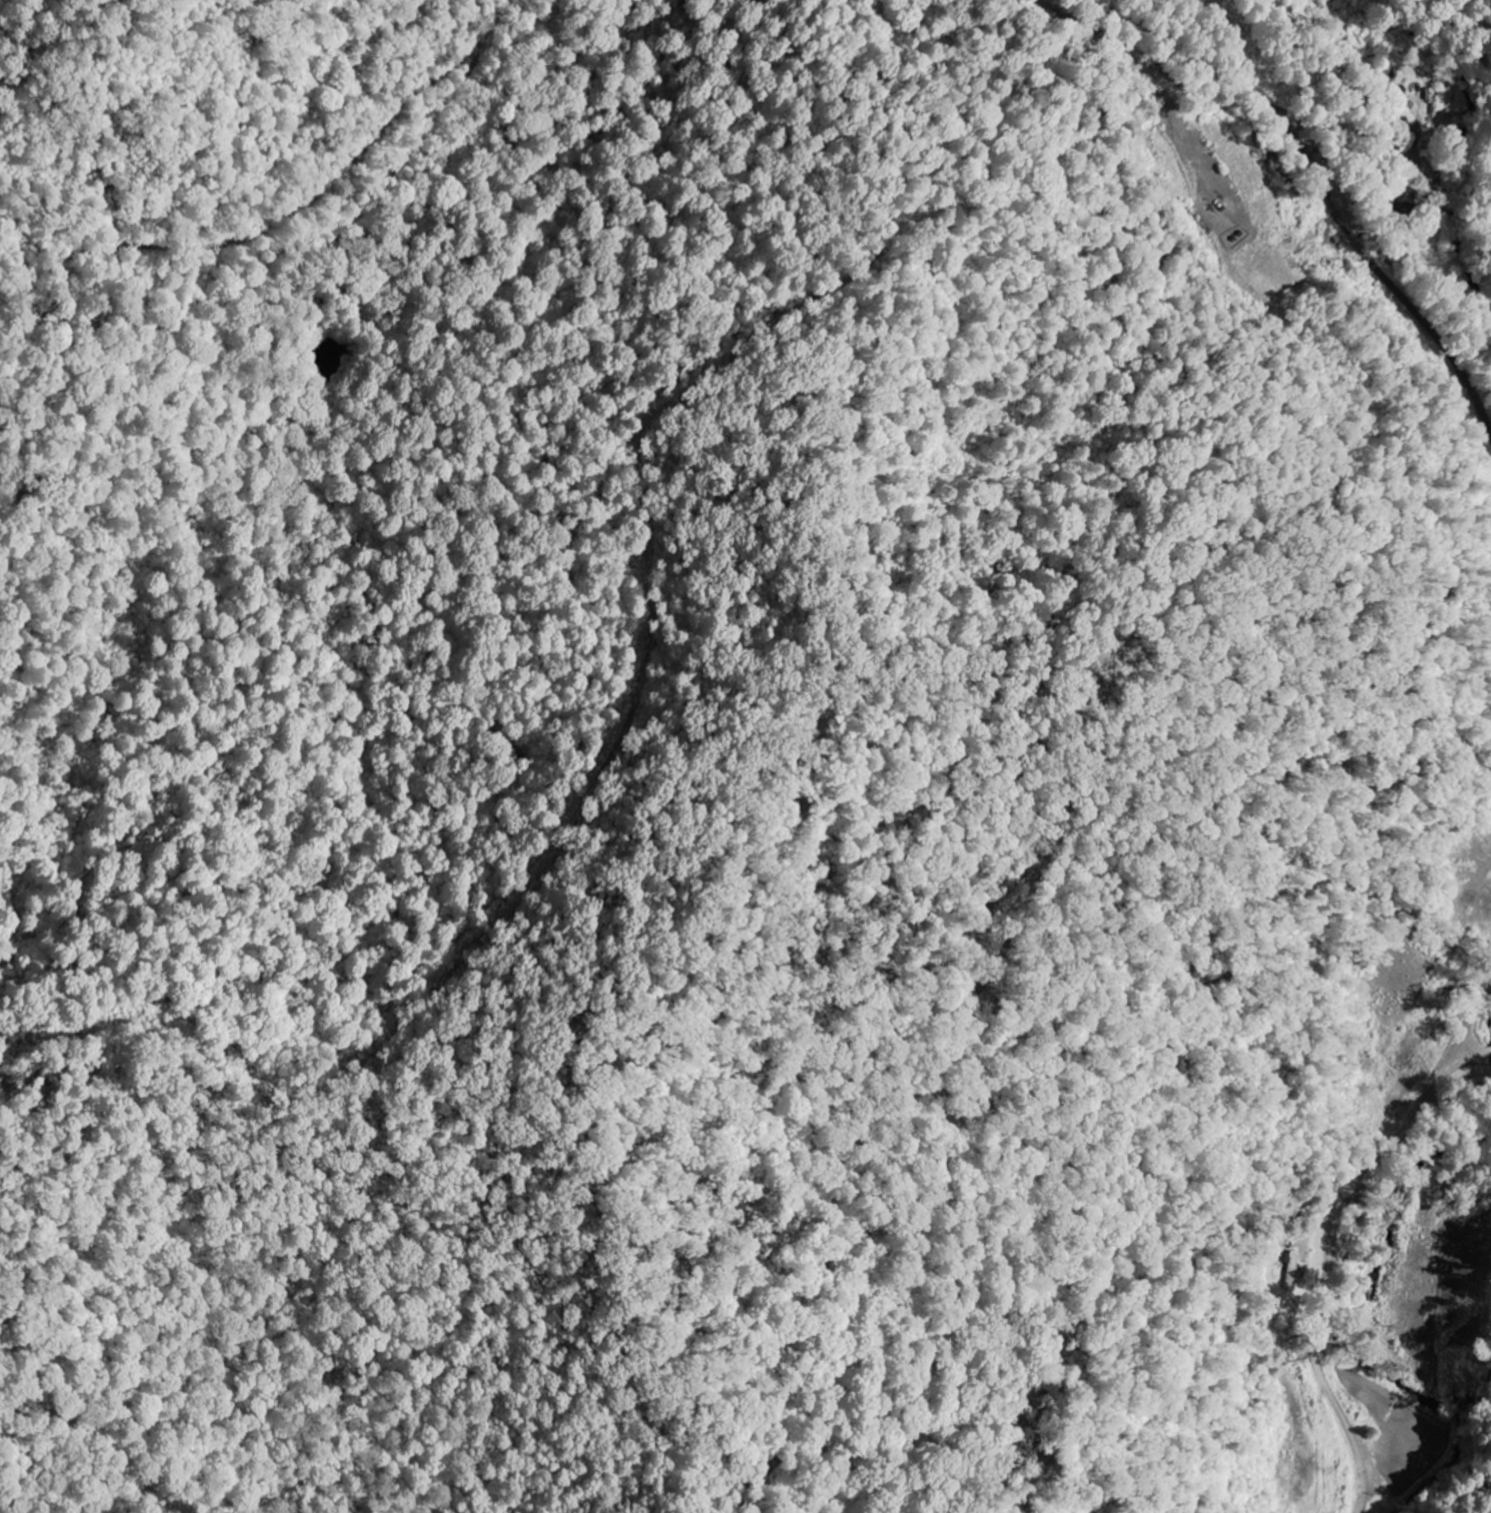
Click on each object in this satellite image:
road: (1387, 148)
road: (1311, 170)
road: (270, 185)
road: (1471, 1044)
road: (1334, 1223)

